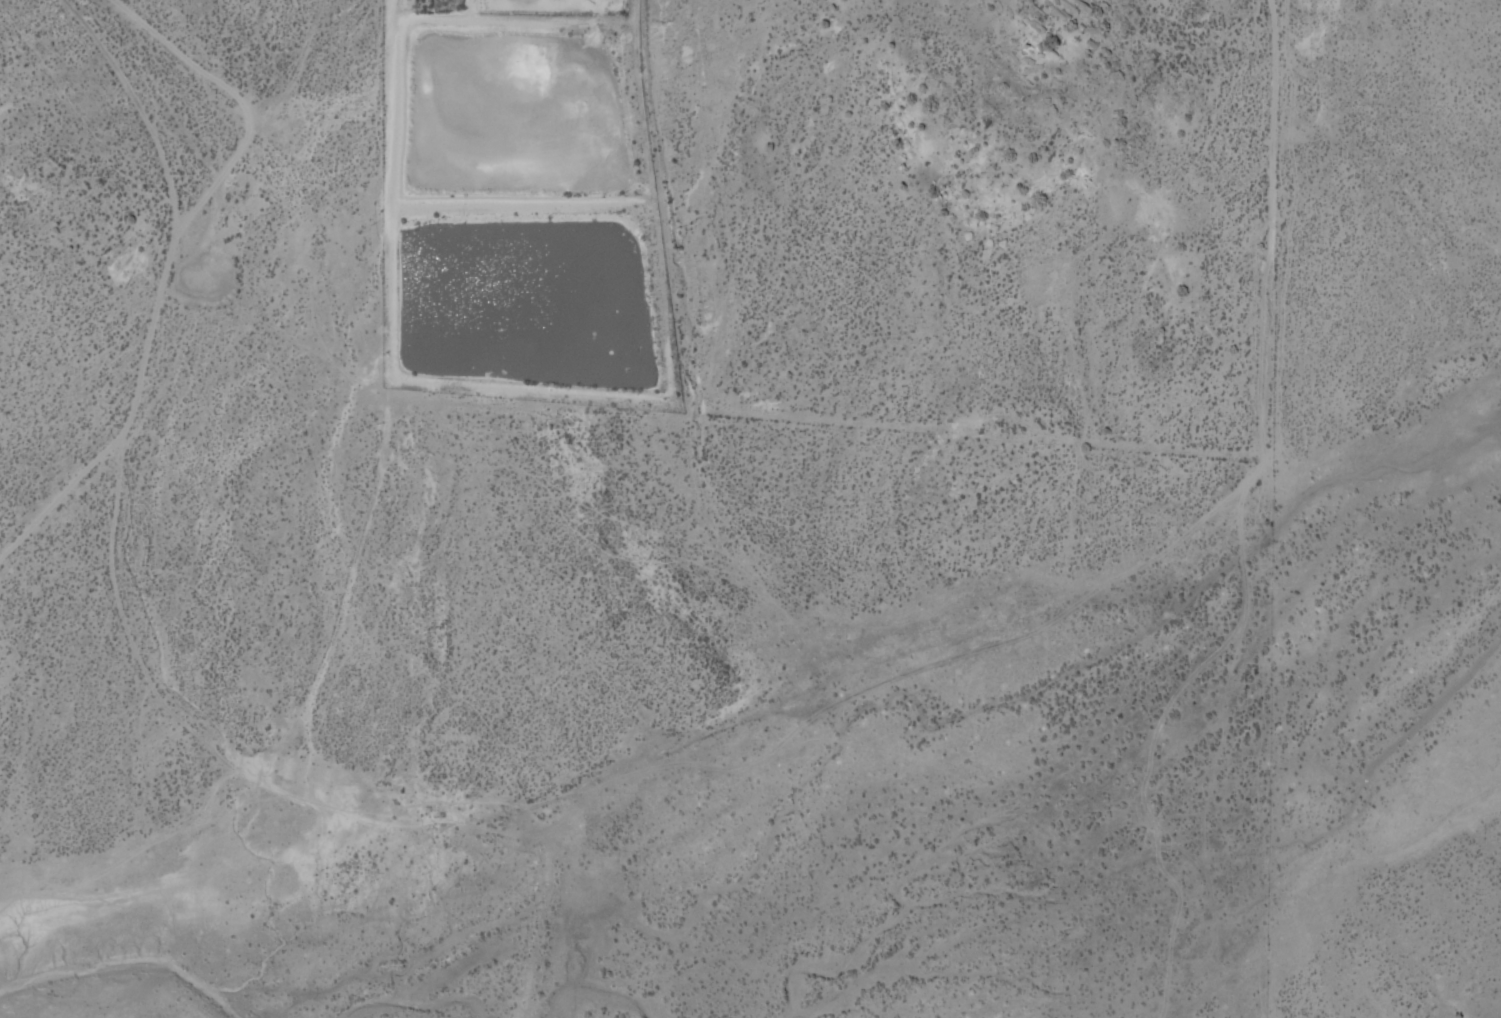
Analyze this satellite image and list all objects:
road: (861, 684)

